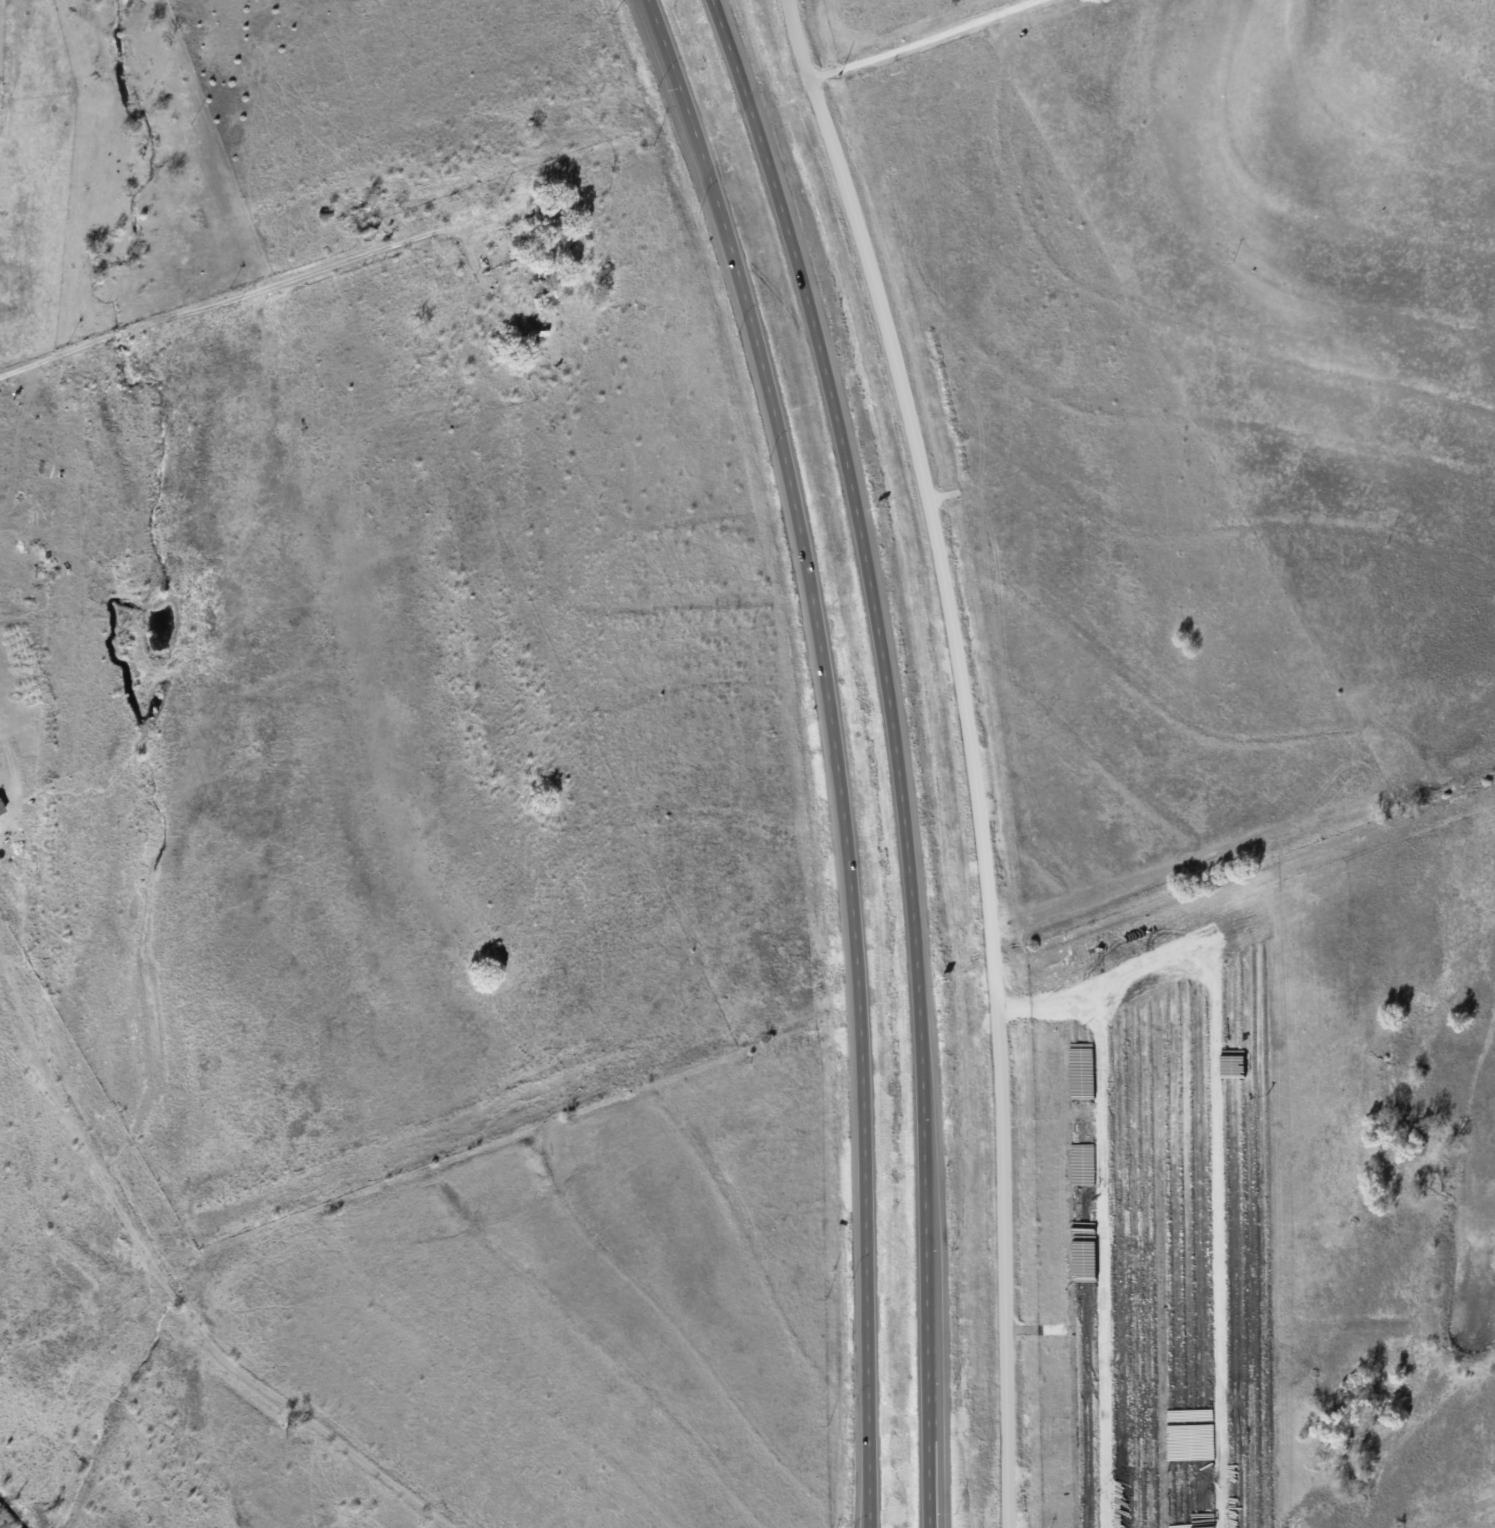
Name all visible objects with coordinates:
road: (922, 41)
road: (475, 266)
road: (224, 302)
road: (22, 448)
road: (882, 659)
road: (834, 740)
road: (970, 753)
road: (11, 767)
road: (166, 1290)
road: (928, 1434)
road: (932, 1434)
road: (868, 1517)
road: (870, 1517)

